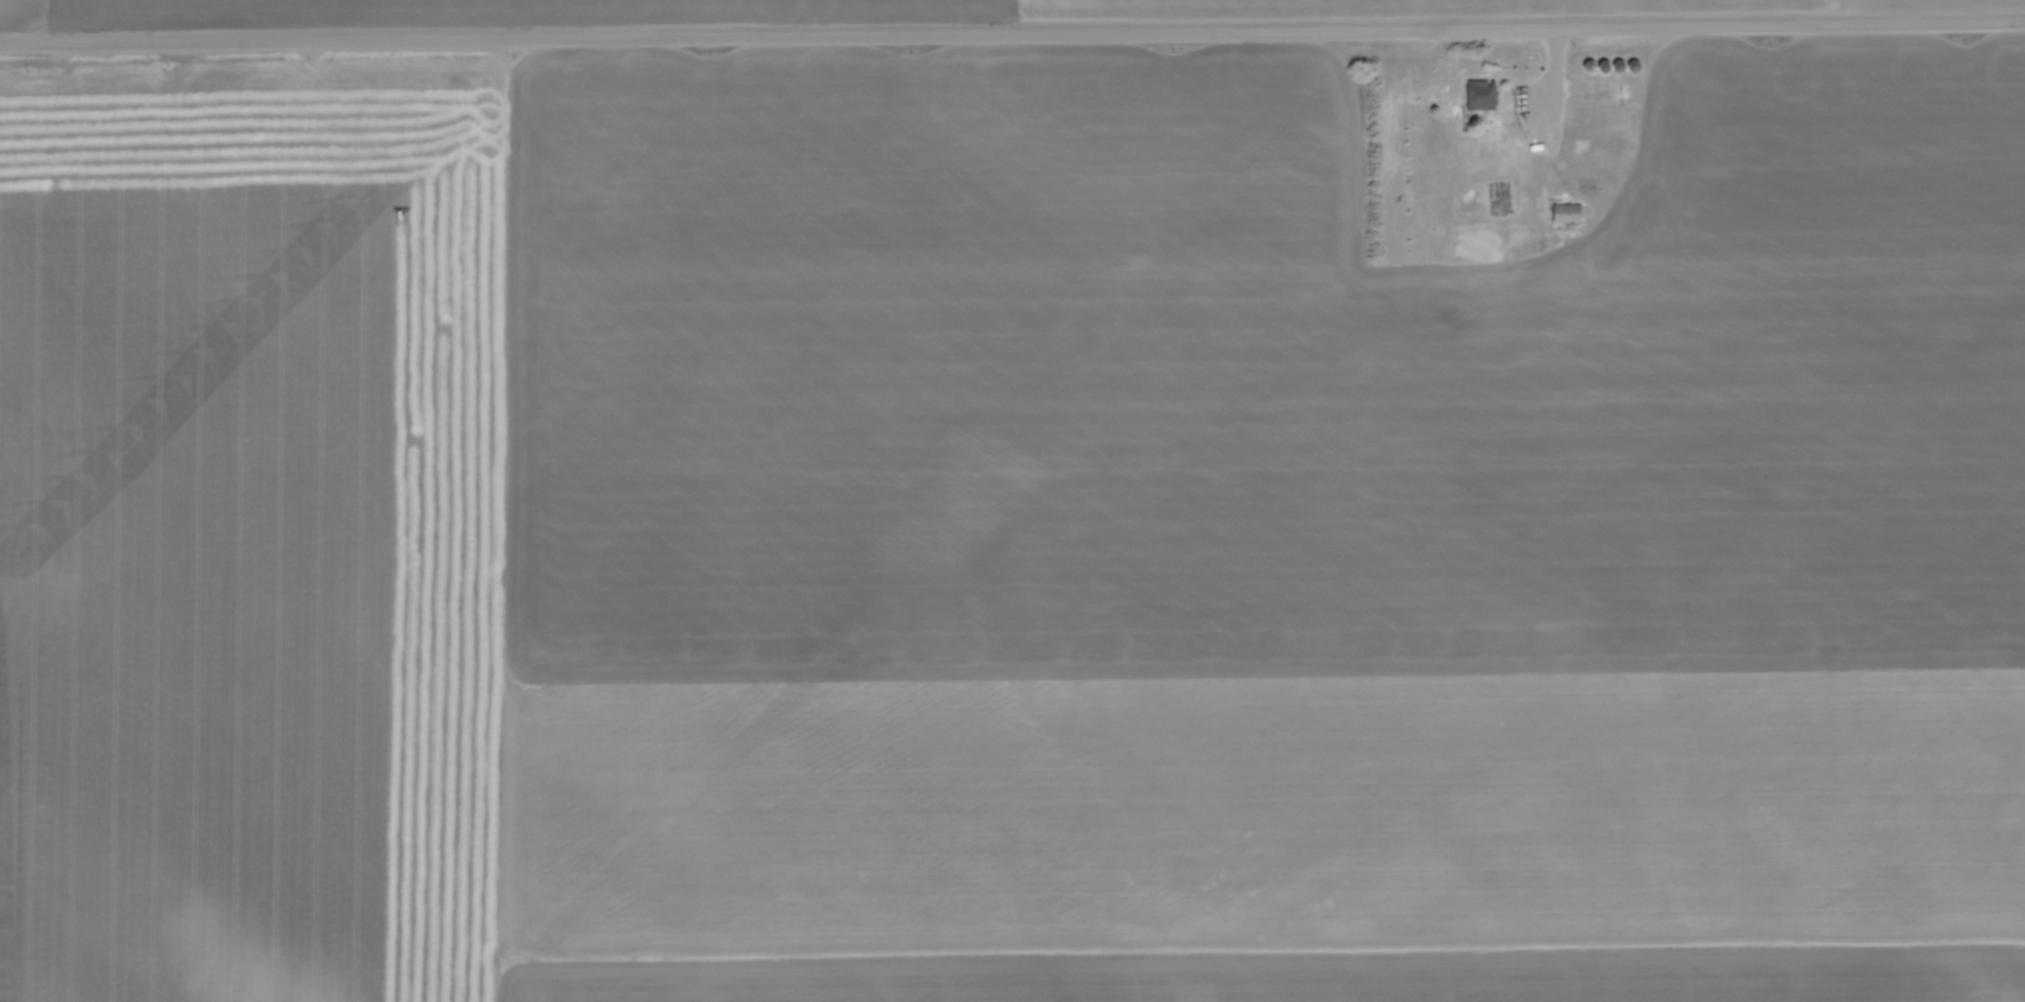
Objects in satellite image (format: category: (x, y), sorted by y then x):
crop: (819, 8)
road: (1012, 32)
silo: (1609, 64)
silo: (1624, 64)
silo: (1591, 65)
silo: (1639, 65)
building: (1485, 94)
road: (1550, 118)
building: (1585, 146)
building: (1569, 211)
crop: (997, 538)

